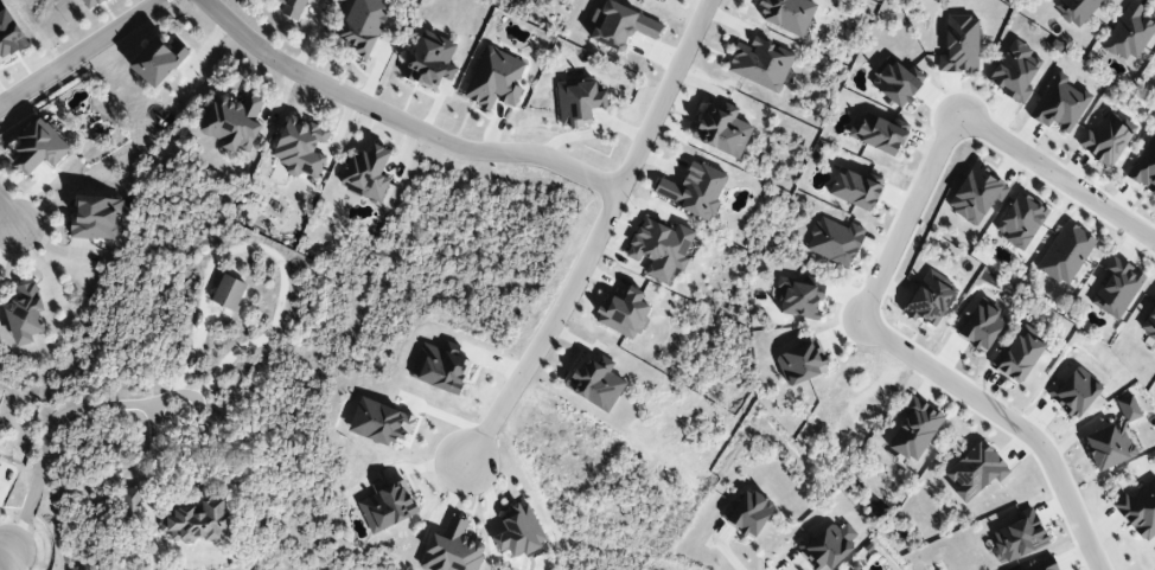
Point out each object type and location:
building: (663, 0)
building: (91, 2)
building: (1076, 9)
building: (789, 14)
building: (363, 24)
building: (620, 25)
building: (1128, 33)
building: (9, 34)
building: (959, 45)
road: (79, 52)
building: (158, 60)
building: (430, 62)
building: (760, 63)
building: (1015, 71)
building: (494, 79)
building: (579, 102)
building: (1059, 104)
building: (232, 121)
road: (402, 122)
building: (722, 130)
building: (878, 134)
building: (1106, 139)
building: (39, 147)
building: (300, 147)
building: (366, 173)
road: (1058, 180)
building: (694, 190)
building: (854, 190)
building: (976, 194)
road: (8, 213)
building: (96, 217)
building: (1021, 220)
road: (910, 222)
road: (601, 238)
building: (835, 241)
building: (661, 248)
building: (1065, 252)
building: (1117, 287)
building: (229, 292)
building: (800, 297)
building: (930, 299)
building: (25, 314)
building: (624, 314)
building: (979, 326)
building: (1017, 358)
building: (800, 363)
building: (439, 369)
building: (595, 383)
building: (1074, 392)
road: (53, 422)
building: (379, 422)
road: (1008, 422)
building: (914, 429)
building: (1113, 437)
building: (976, 470)
building: (133, 504)
building: (387, 505)
building: (1132, 512)
building: (747, 513)
building: (198, 521)
building: (519, 531)
building: (1020, 536)
road: (7, 543)
building: (827, 546)
building: (452, 549)
road: (9, 558)
building: (1042, 565)
building: (859, 569)

